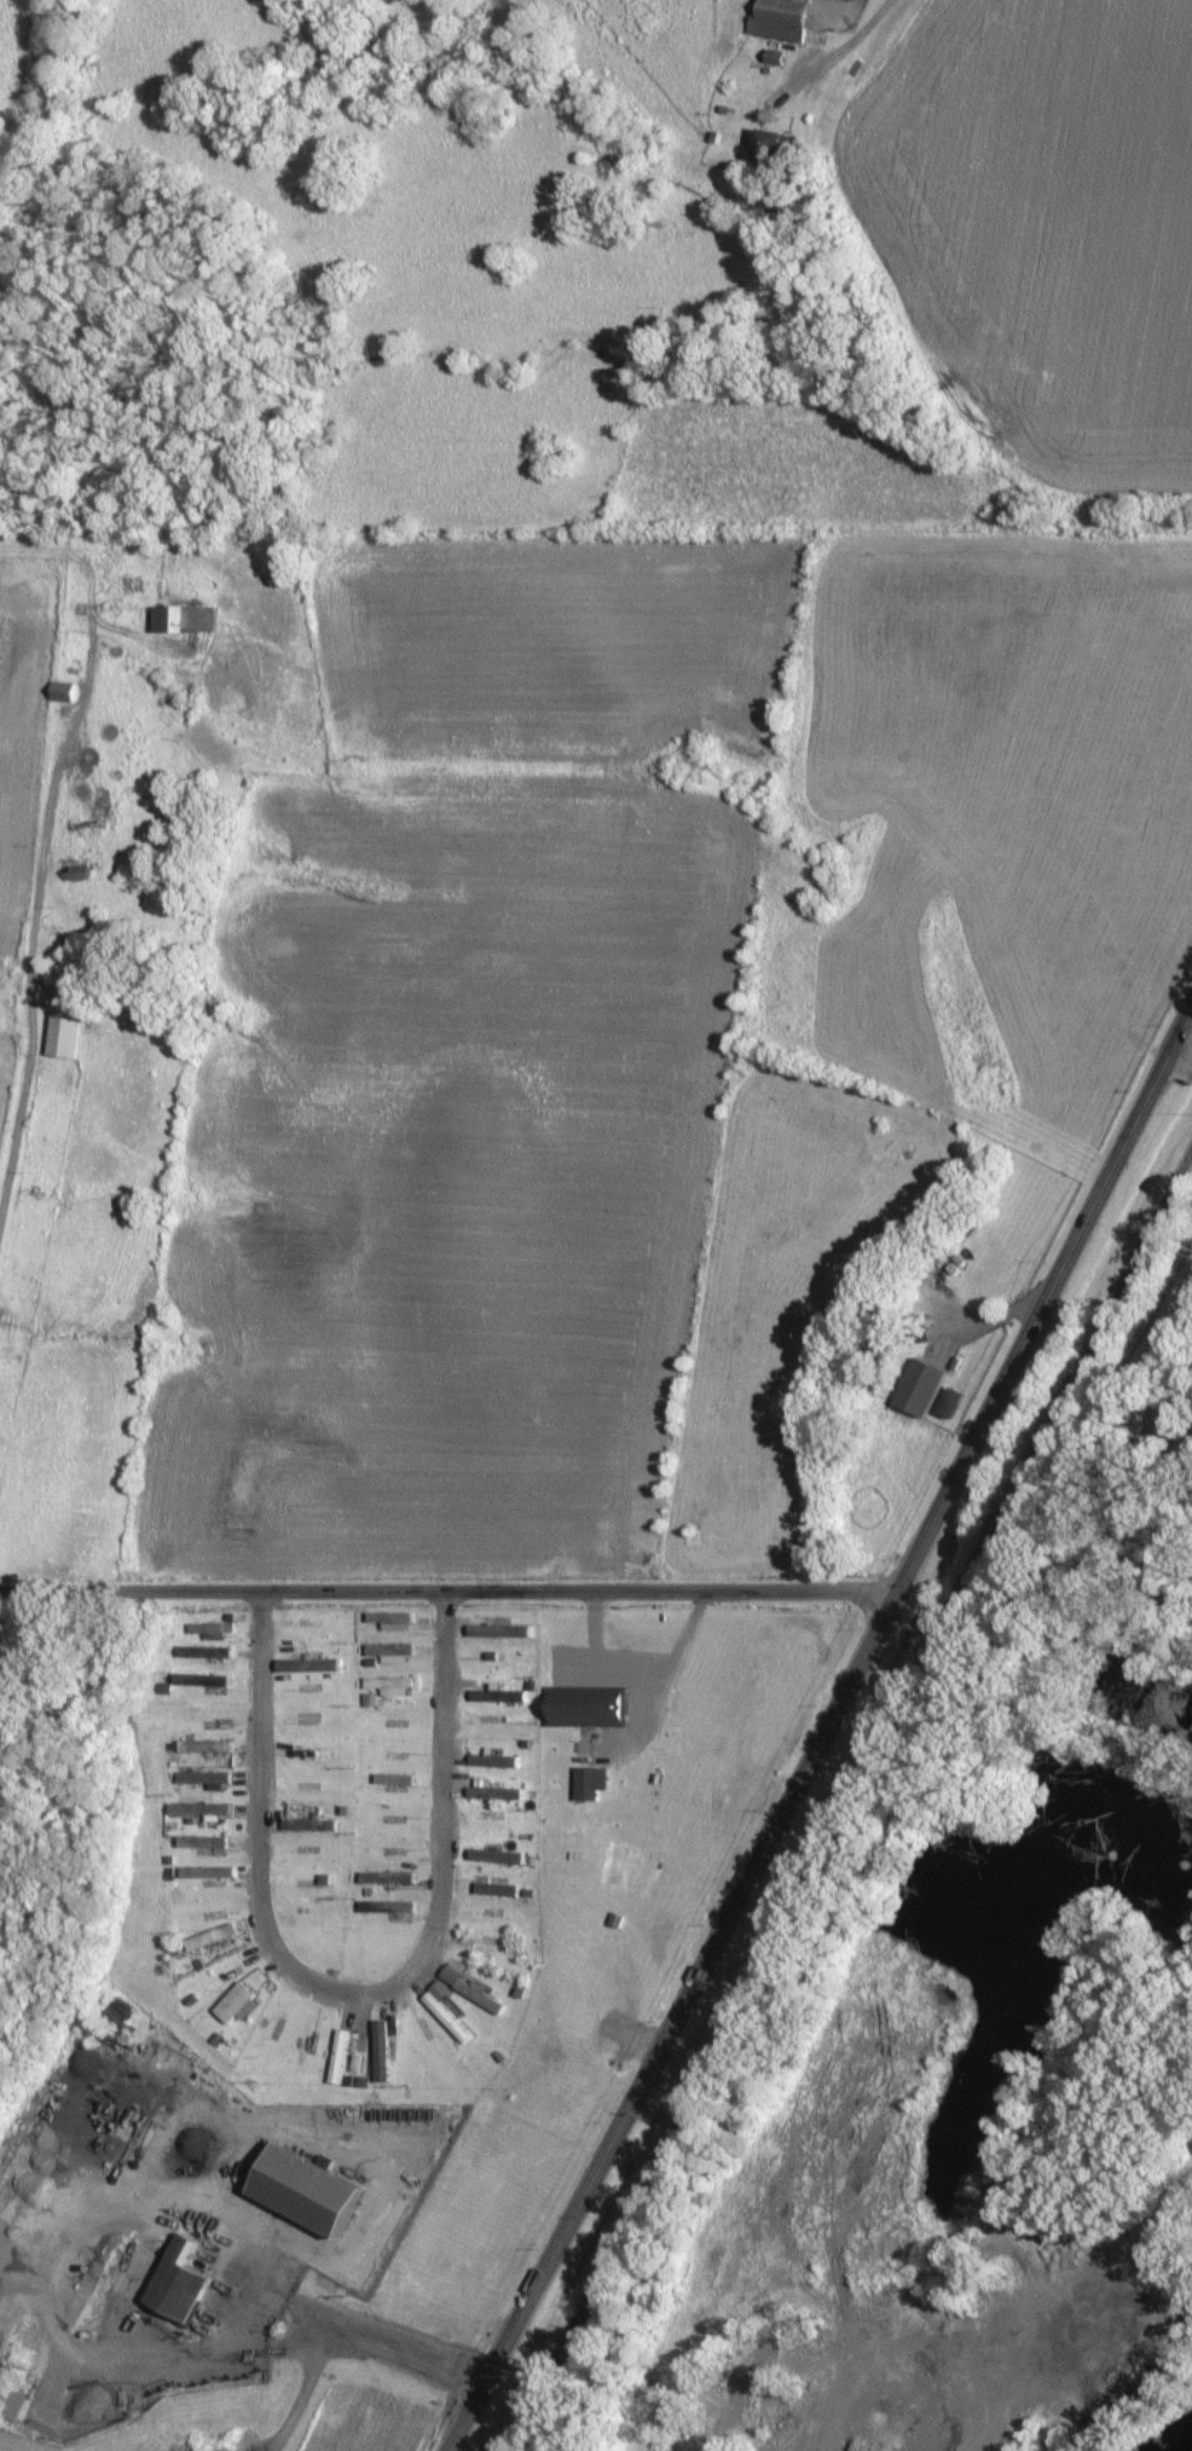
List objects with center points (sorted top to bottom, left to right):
building: (779, 19)
road: (846, 45)
building: (766, 146)
building: (186, 620)
building: (62, 693)
road: (31, 896)
building: (63, 1037)
road: (1179, 1059)
building: (919, 1387)
road: (1122, 1474)
road: (447, 1597)
building: (389, 1621)
building: (210, 1630)
building: (203, 1652)
building: (389, 1652)
road: (638, 1664)
building: (388, 1686)
building: (492, 1696)
building: (581, 1710)
road: (821, 1729)
building: (203, 1746)
building: (492, 1761)
building: (204, 1779)
building: (392, 1779)
building: (589, 1783)
building: (482, 1790)
railway: (846, 1795)
building: (199, 1810)
building: (309, 1825)
building: (201, 1843)
building: (504, 1858)
building: (206, 1872)
building: (386, 1878)
building: (386, 1907)
building: (209, 1937)
building: (465, 1987)
road: (348, 1989)
building: (233, 2005)
building: (444, 2012)
building: (381, 2051)
building: (337, 2057)
building: (302, 2190)
building: (175, 2283)
road: (244, 2318)
building: (12, 2407)

